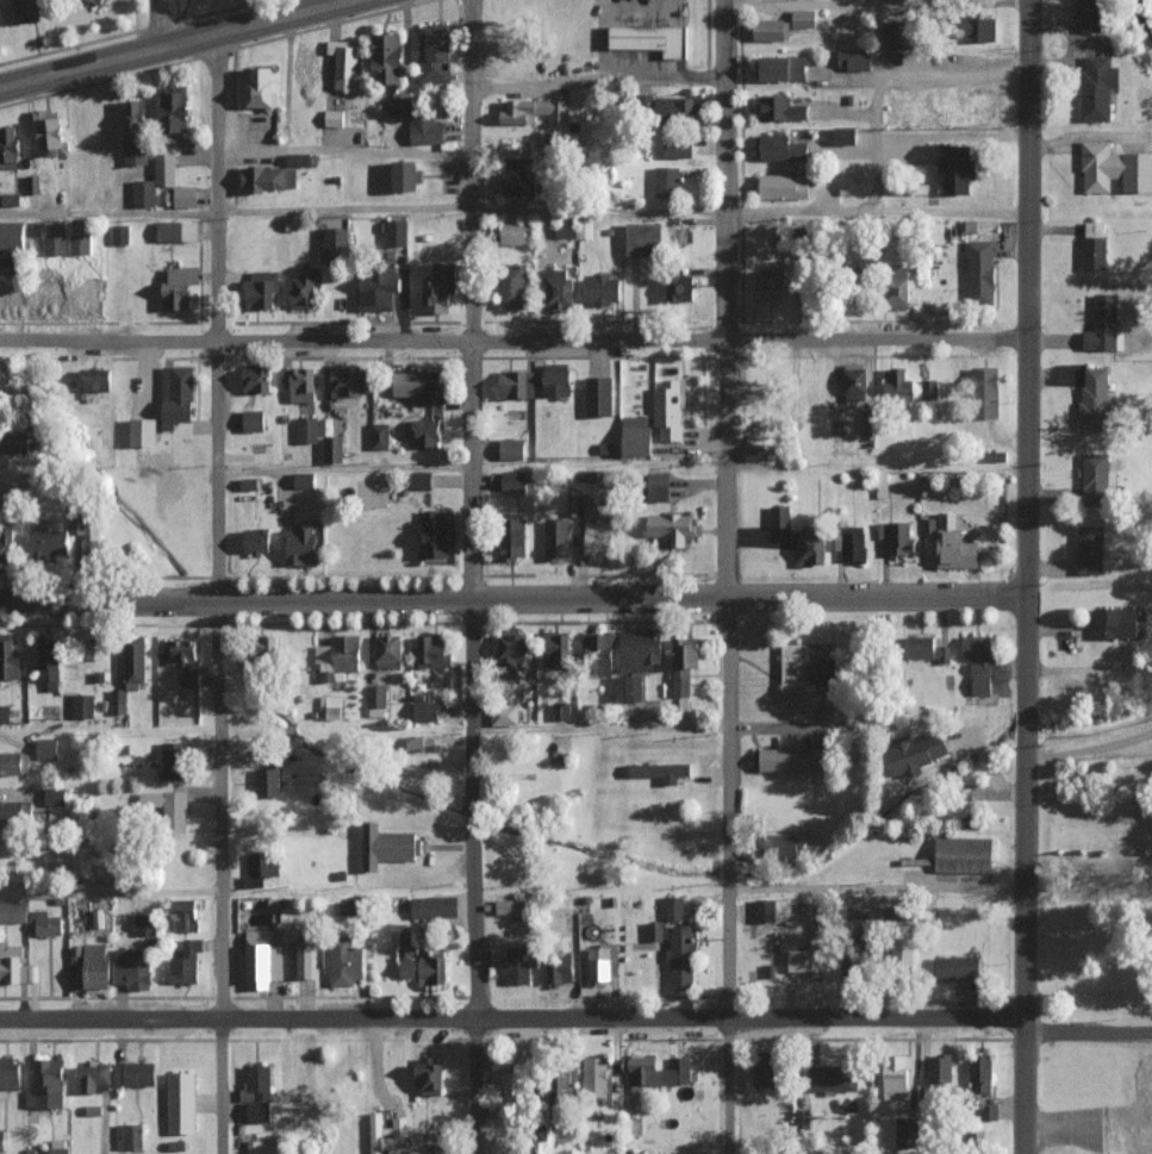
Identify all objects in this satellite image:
building: (99, 1)
building: (29, 10)
road: (656, 17)
building: (1091, 17)
building: (804, 18)
road: (155, 20)
building: (771, 29)
building: (990, 29)
building: (897, 33)
road: (162, 38)
road: (678, 38)
road: (602, 39)
building: (652, 39)
road: (643, 44)
road: (616, 45)
road: (629, 45)
building: (436, 52)
building: (391, 58)
building: (855, 58)
building: (345, 63)
building: (785, 68)
road: (596, 80)
building: (261, 87)
building: (1098, 87)
building: (678, 107)
building: (780, 108)
building: (175, 110)
building: (535, 110)
building: (972, 111)
building: (334, 117)
building: (421, 121)
building: (50, 131)
building: (137, 131)
building: (1150, 139)
building: (10, 145)
building: (680, 146)
building: (783, 148)
building: (299, 160)
building: (954, 166)
building: (1114, 168)
building: (166, 169)
building: (409, 176)
building: (522, 177)
building: (269, 179)
building: (667, 180)
building: (33, 185)
building: (144, 193)
building: (186, 197)
building: (11, 199)
road: (235, 214)
road: (596, 214)
building: (179, 231)
building: (396, 232)
building: (517, 232)
building: (122, 233)
building: (14, 237)
building: (646, 238)
building: (81, 243)
building: (338, 243)
building: (57, 244)
building: (1096, 245)
building: (10, 268)
building: (980, 272)
building: (774, 285)
building: (513, 286)
building: (179, 287)
building: (380, 288)
building: (683, 288)
building: (304, 289)
building: (440, 289)
building: (558, 289)
building: (602, 289)
building: (260, 291)
building: (50, 293)
building: (89, 294)
building: (11, 295)
road: (1025, 298)
road: (471, 299)
road: (722, 299)
road: (212, 312)
building: (1106, 325)
road: (511, 338)
building: (257, 378)
building: (98, 380)
building: (345, 380)
building: (558, 380)
building: (855, 381)
building: (300, 383)
building: (424, 385)
building: (516, 385)
building: (898, 386)
building: (928, 389)
building: (988, 392)
building: (178, 395)
building: (599, 397)
building: (1096, 399)
building: (668, 410)
building: (255, 420)
building: (307, 430)
building: (144, 432)
building: (428, 432)
building: (380, 436)
building: (636, 436)
building: (18, 443)
building: (334, 449)
building: (512, 449)
building: (758, 451)
building: (1096, 472)
building: (304, 480)
building: (423, 480)
building: (513, 481)
building: (661, 484)
building: (883, 485)
building: (172, 486)
building: (575, 506)
building: (780, 516)
building: (81, 525)
building: (673, 528)
building: (438, 536)
building: (898, 537)
building: (558, 538)
building: (515, 539)
building: (256, 541)
building: (600, 541)
building: (52, 543)
building: (301, 544)
building: (957, 544)
building: (857, 545)
building: (5, 549)
building: (812, 549)
building: (1091, 549)
road: (511, 599)
building: (1119, 622)
building: (599, 642)
building: (269, 643)
building: (182, 648)
building: (558, 648)
building: (642, 648)
building: (388, 649)
building: (434, 649)
building: (929, 649)
building: (512, 653)
building: (340, 656)
building: (10, 657)
building: (136, 659)
building: (51, 660)
building: (980, 660)
building: (685, 662)
building: (809, 666)
building: (189, 675)
building: (635, 686)
building: (119, 700)
building: (376, 700)
building: (83, 704)
building: (329, 706)
building: (426, 710)
building: (561, 710)
building: (5, 713)
building: (505, 713)
building: (48, 748)
road: (1088, 748)
building: (915, 753)
building: (792, 759)
building: (174, 760)
building: (14, 762)
building: (661, 771)
building: (268, 781)
building: (55, 796)
building: (164, 803)
building: (12, 812)
building: (791, 844)
building: (388, 846)
building: (965, 854)
road: (1088, 855)
building: (262, 867)
road: (1025, 874)
road: (472, 875)
road: (217, 877)
road: (726, 877)
building: (506, 905)
building: (432, 906)
building: (675, 907)
building: (765, 909)
building: (13, 911)
building: (181, 911)
building: (897, 913)
building: (45, 923)
building: (143, 923)
building: (260, 956)
building: (683, 956)
building: (812, 956)
building: (305, 957)
building: (345, 961)
building: (187, 962)
building: (418, 962)
building: (599, 962)
building: (12, 963)
building: (518, 965)
building: (135, 967)
building: (959, 967)
building: (99, 968)
building: (560, 968)
road: (577, 1018)
building: (942, 1068)
building: (658, 1069)
building: (136, 1073)
building: (980, 1074)
building: (11, 1075)
building: (95, 1075)
building: (429, 1075)
building: (597, 1077)
building: (761, 1077)
building: (897, 1077)
building: (834, 1078)
building: (257, 1081)
building: (48, 1084)
building: (515, 1087)
building: (181, 1102)
building: (261, 1110)
building: (386, 1130)
building: (907, 1131)
building: (130, 1135)
building: (2, 1140)
building: (512, 1143)
building: (58, 1146)

